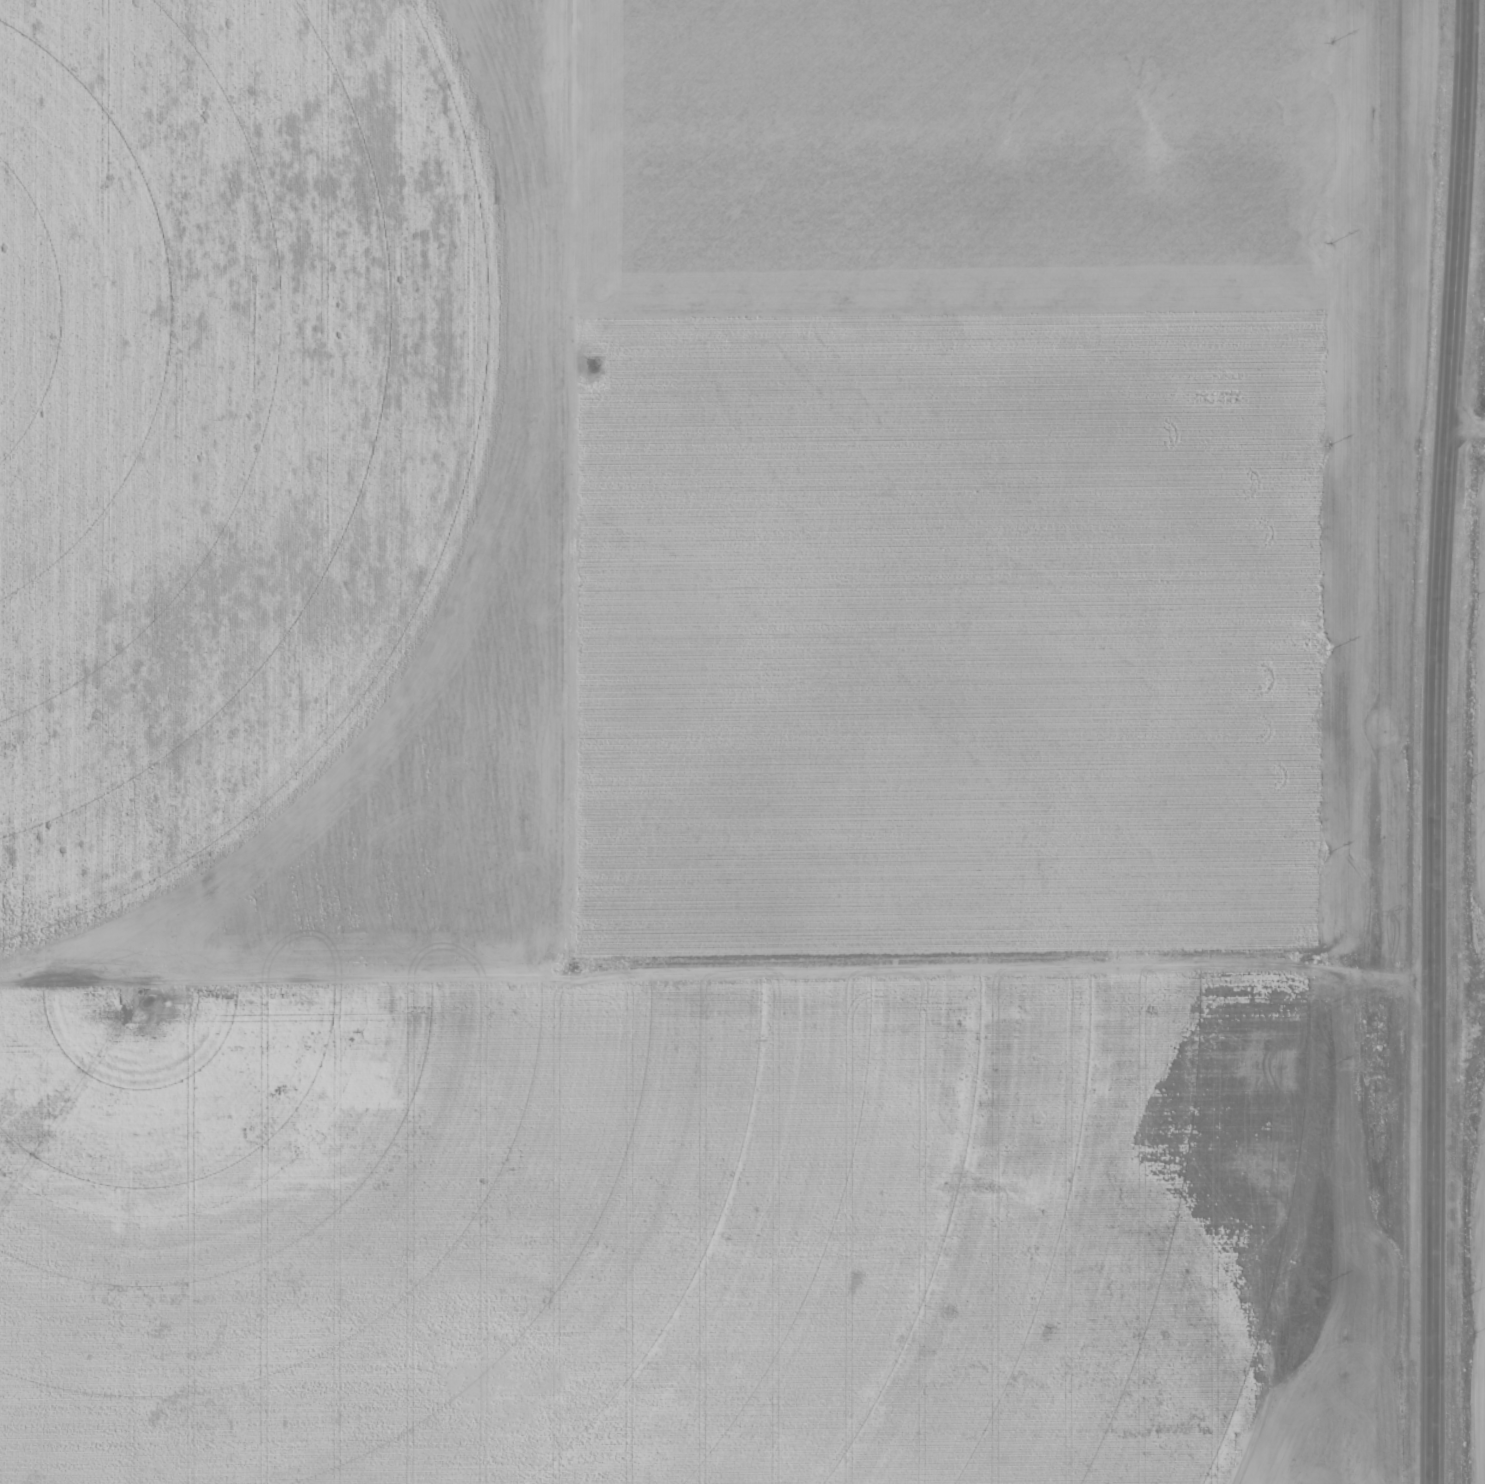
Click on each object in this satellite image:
road: (1468, 432)
road: (1448, 741)

